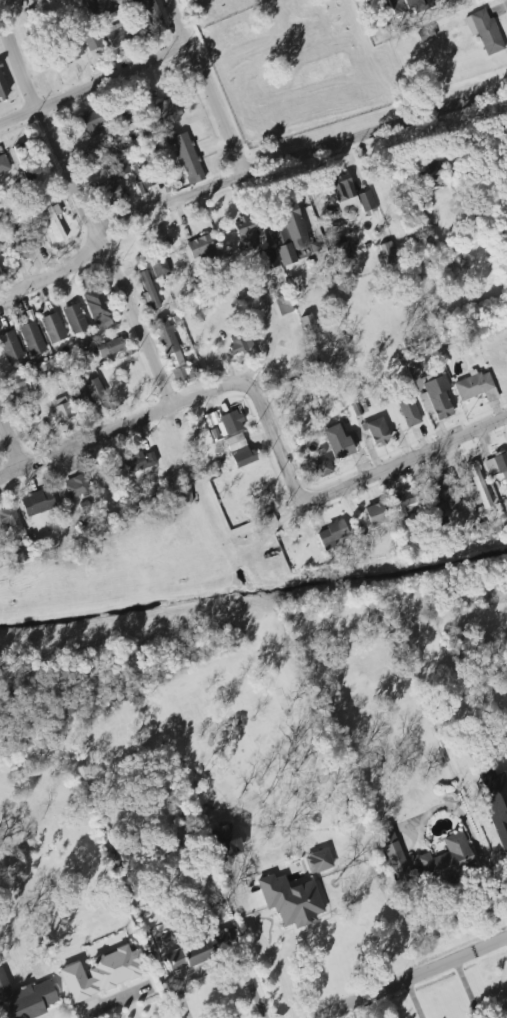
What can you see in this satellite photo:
building: (407, 5)
building: (109, 6)
building: (153, 13)
building: (485, 32)
building: (121, 35)
building: (426, 35)
building: (90, 38)
building: (72, 51)
road: (93, 83)
road: (206, 86)
building: (2, 90)
building: (168, 111)
building: (94, 121)
building: (185, 157)
building: (26, 161)
building: (3, 164)
building: (118, 168)
building: (433, 172)
road: (241, 175)
building: (143, 177)
building: (113, 191)
building: (343, 193)
building: (366, 201)
road: (81, 211)
building: (52, 216)
building: (246, 232)
building: (289, 233)
building: (17, 246)
building: (201, 248)
building: (341, 248)
building: (386, 252)
building: (158, 266)
building: (0, 276)
building: (147, 290)
building: (282, 305)
building: (98, 310)
building: (73, 318)
building: (308, 324)
building: (52, 327)
building: (30, 338)
building: (168, 342)
building: (240, 343)
building: (9, 346)
building: (110, 347)
building: (181, 374)
building: (472, 385)
building: (93, 389)
building: (19, 392)
building: (436, 398)
building: (80, 403)
building: (407, 410)
building: (61, 411)
building: (231, 422)
road: (121, 426)
building: (377, 431)
building: (336, 442)
road: (10, 444)
building: (240, 451)
road: (426, 452)
building: (139, 462)
building: (497, 465)
building: (323, 468)
road: (283, 469)
building: (76, 487)
building: (477, 488)
building: (447, 491)
building: (37, 502)
building: (405, 504)
building: (375, 514)
building: (438, 518)
building: (9, 521)
building: (331, 535)
building: (496, 804)
road: (486, 826)
building: (394, 856)
building: (446, 861)
building: (318, 862)
building: (290, 899)
building: (219, 941)
building: (188, 956)
road: (219, 964)
building: (99, 973)
road: (286, 978)
road: (413, 978)
road: (466, 989)
building: (25, 999)
road: (414, 1000)
road: (130, 1006)
road: (371, 1008)

